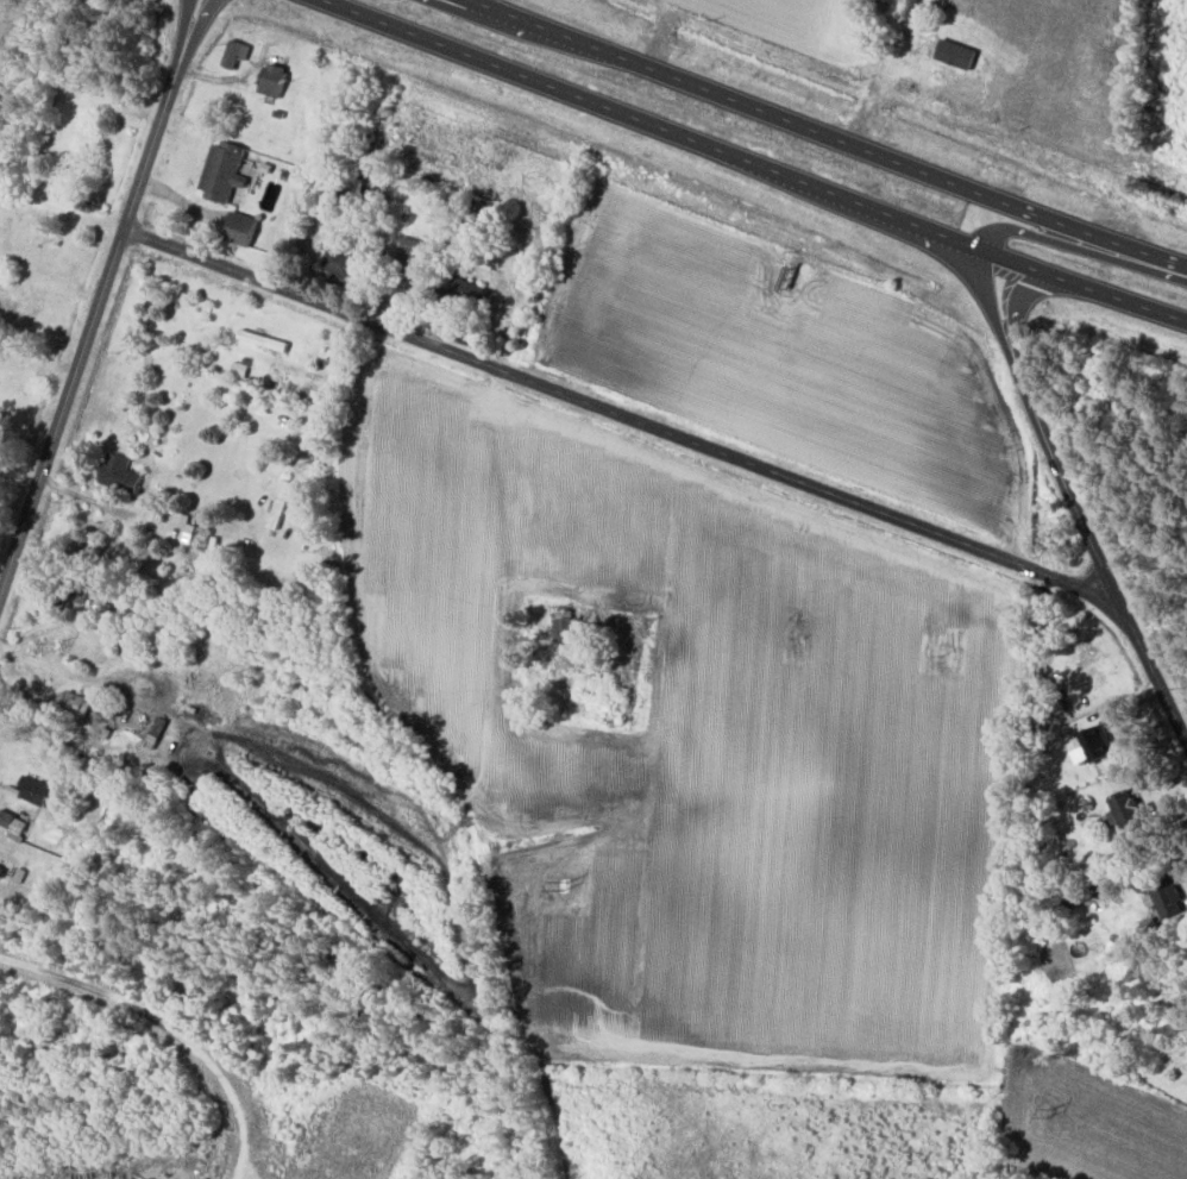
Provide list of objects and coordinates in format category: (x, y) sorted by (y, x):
building: (561, 0)
road: (507, 23)
road: (177, 54)
building: (233, 55)
building: (874, 58)
building: (271, 81)
building: (900, 100)
road: (827, 136)
road: (755, 163)
building: (220, 171)
building: (338, 183)
road: (59, 213)
building: (239, 230)
building: (409, 258)
building: (337, 265)
building: (466, 294)
road: (88, 324)
building: (262, 340)
road: (1023, 396)
road: (697, 444)
building: (118, 474)
building: (189, 534)
building: (565, 626)
power tower: (55, 646)
building: (585, 685)
building: (71, 702)
building: (1089, 745)
building: (31, 791)
building: (1124, 811)
power tower: (565, 885)
building: (1164, 897)
building: (1177, 1016)
power tower: (1049, 1111)

